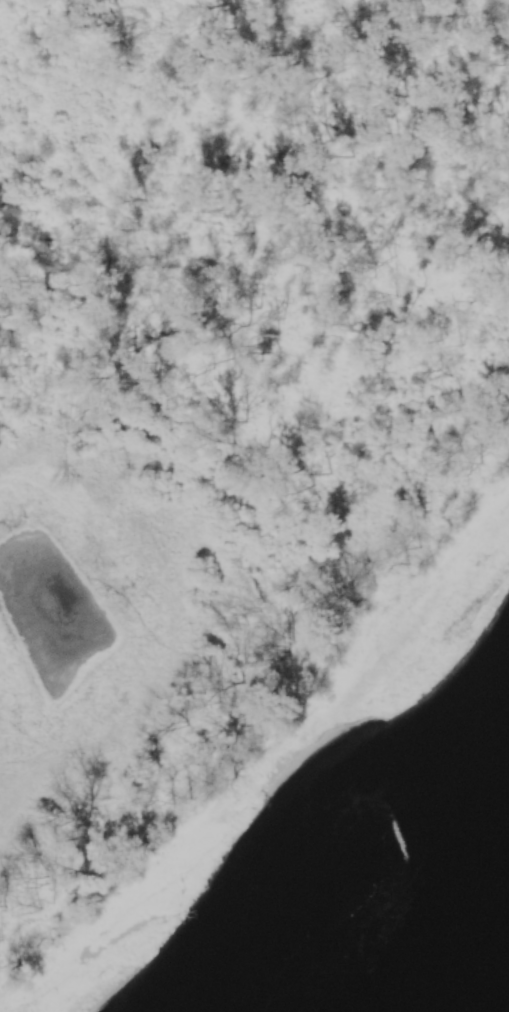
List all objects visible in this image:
park: (227, 410)
road: (182, 651)

